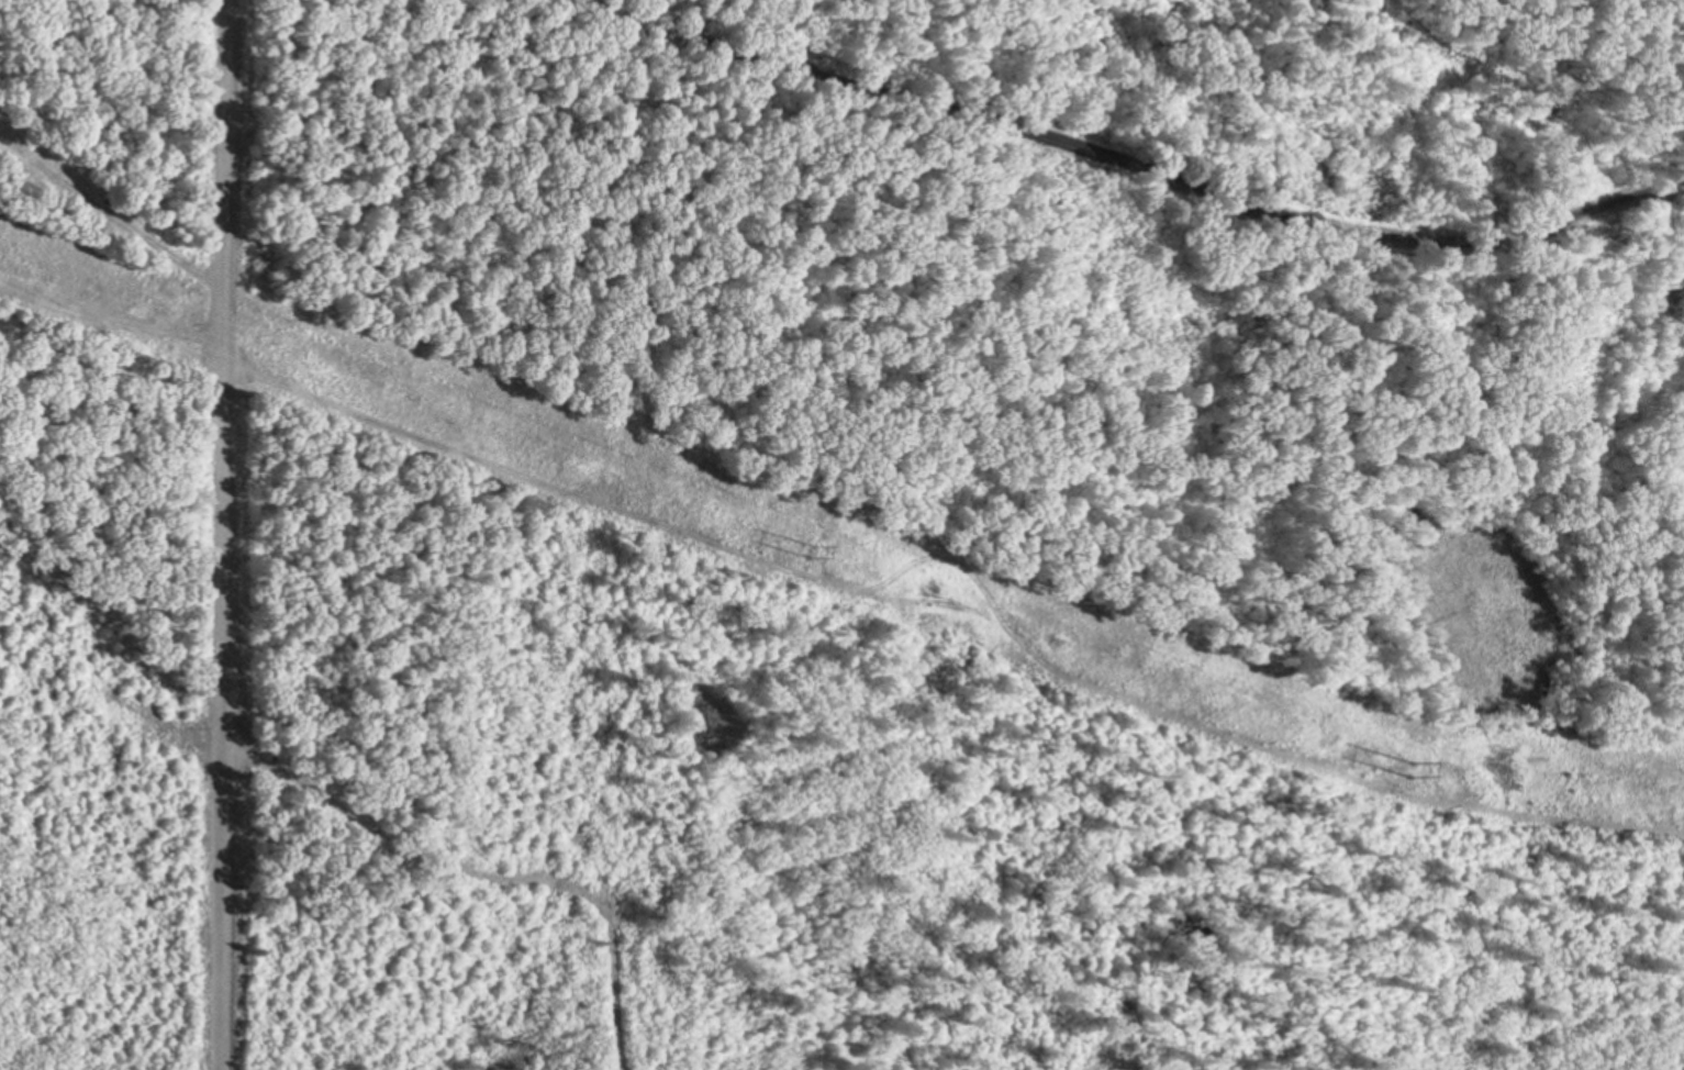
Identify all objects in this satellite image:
road: (1124, 165)
road: (222, 534)
power tower: (792, 550)
power tower: (1410, 776)

